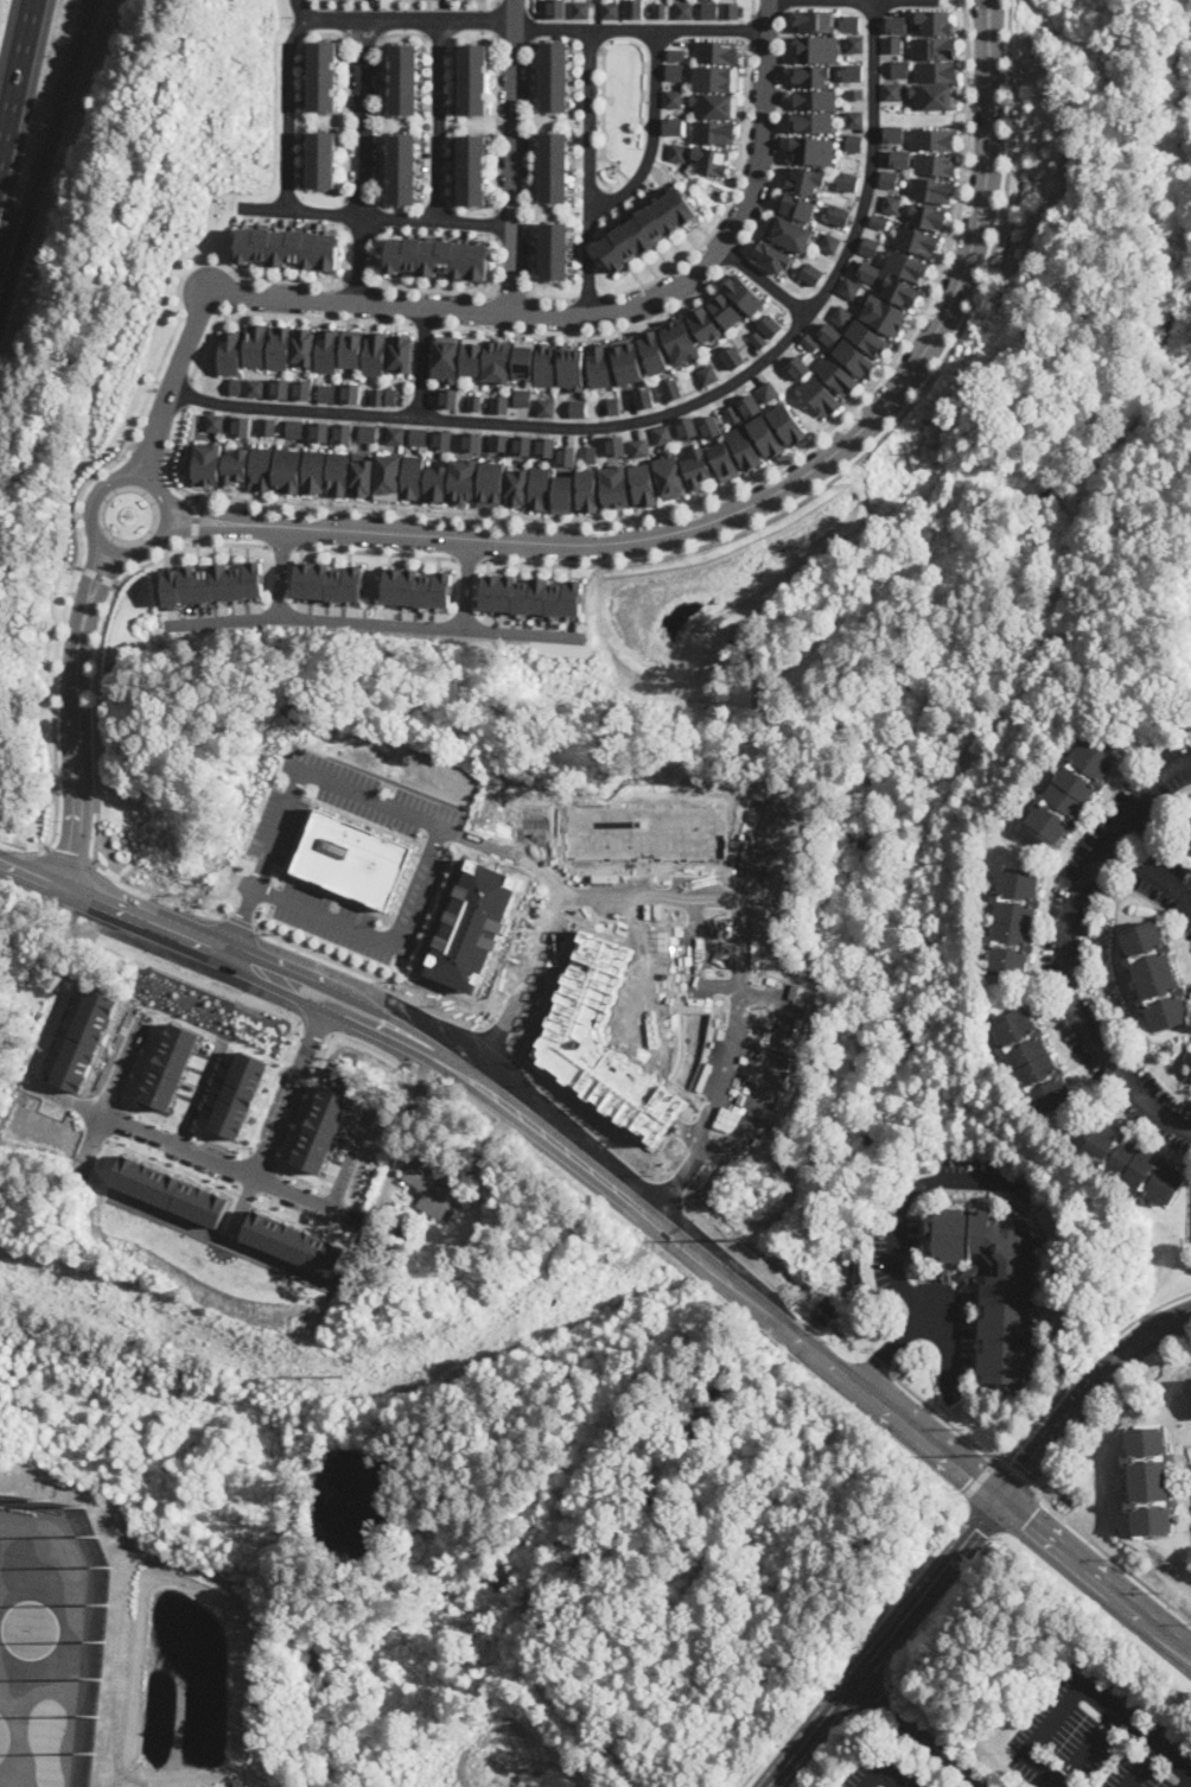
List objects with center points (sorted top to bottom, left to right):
road: (848, 0)
road: (391, 4)
road: (784, 6)
road: (529, 7)
building: (555, 8)
road: (751, 8)
road: (298, 9)
building: (579, 9)
building: (609, 9)
building: (631, 9)
building: (657, 9)
building: (682, 9)
building: (708, 9)
building: (728, 11)
road: (284, 12)
road: (406, 20)
building: (815, 20)
building: (936, 21)
building: (849, 24)
building: (897, 24)
road: (295, 27)
road: (637, 30)
road: (750, 30)
building: (855, 44)
building: (892, 45)
building: (934, 47)
building: (817, 49)
building: (715, 52)
building: (674, 55)
building: (900, 69)
building: (673, 71)
building: (853, 71)
building: (937, 71)
building: (323, 75)
building: (811, 75)
building: (553, 76)
building: (714, 77)
road: (17, 78)
building: (473, 78)
building: (403, 80)
building: (892, 91)
building: (855, 93)
road: (345, 94)
building: (934, 95)
road: (378, 98)
building: (671, 98)
building: (814, 98)
building: (713, 104)
park: (618, 109)
road: (287, 113)
road: (603, 117)
building: (854, 119)
road: (438, 120)
road: (496, 121)
building: (813, 121)
building: (671, 126)
building: (712, 132)
road: (651, 133)
road: (778, 133)
building: (893, 133)
building: (932, 138)
building: (853, 142)
building: (810, 150)
building: (676, 152)
road: (46, 153)
road: (512, 155)
building: (900, 158)
building: (323, 159)
building: (709, 160)
road: (363, 161)
building: (934, 164)
building: (553, 167)
building: (402, 168)
building: (472, 170)
road: (587, 170)
building: (887, 178)
building: (804, 179)
building: (847, 180)
road: (690, 184)
road: (528, 189)
building: (930, 190)
road: (728, 203)
building: (891, 204)
building: (795, 205)
road: (346, 211)
building: (839, 215)
road: (377, 216)
building: (928, 216)
road: (378, 217)
building: (878, 221)
road: (495, 223)
building: (645, 228)
building: (788, 233)
building: (916, 240)
building: (829, 243)
building: (870, 247)
building: (289, 248)
building: (554, 250)
road: (735, 256)
building: (772, 256)
building: (438, 257)
building: (907, 266)
building: (868, 272)
building: (810, 273)
road: (361, 282)
road: (765, 282)
building: (849, 287)
road: (438, 290)
building: (900, 291)
road: (510, 293)
building: (743, 294)
road: (588, 297)
building: (724, 309)
road: (507, 312)
road: (279, 313)
building: (884, 314)
building: (842, 316)
road: (425, 324)
building: (705, 324)
building: (770, 325)
road: (592, 332)
building: (829, 333)
building: (867, 337)
building: (758, 339)
building: (679, 341)
building: (810, 342)
building: (256, 344)
building: (280, 346)
building: (305, 346)
building: (352, 348)
building: (329, 350)
building: (231, 352)
building: (375, 352)
building: (402, 352)
building: (652, 352)
building: (471, 356)
building: (733, 357)
building: (446, 358)
building: (524, 358)
building: (854, 358)
building: (497, 360)
road: (422, 361)
building: (626, 361)
building: (544, 363)
building: (599, 364)
building: (572, 367)
building: (800, 367)
building: (707, 374)
building: (836, 375)
building: (236, 386)
building: (256, 387)
building: (281, 387)
building: (305, 389)
building: (671, 389)
road: (185, 392)
building: (352, 392)
building: (768, 392)
building: (329, 393)
building: (820, 394)
building: (378, 395)
building: (391, 395)
building: (448, 398)
building: (522, 398)
building: (644, 398)
building: (475, 402)
building: (499, 403)
building: (613, 406)
building: (750, 406)
building: (546, 407)
building: (578, 408)
road: (670, 412)
building: (732, 413)
building: (216, 422)
building: (788, 424)
road: (894, 424)
building: (243, 426)
building: (268, 426)
building: (687, 426)
building: (711, 426)
building: (295, 428)
building: (321, 431)
building: (345, 433)
building: (369, 433)
building: (396, 434)
building: (663, 434)
building: (419, 435)
building: (765, 435)
building: (442, 438)
building: (472, 441)
building: (501, 441)
building: (523, 445)
building: (546, 445)
building: (616, 445)
road: (149, 447)
building: (639, 447)
building: (744, 447)
building: (592, 453)
building: (567, 456)
road: (117, 458)
building: (724, 460)
building: (208, 463)
building: (236, 466)
building: (262, 468)
building: (698, 468)
building: (288, 469)
building: (314, 471)
building: (339, 472)
building: (362, 475)
building: (670, 475)
road: (107, 476)
building: (413, 476)
building: (388, 477)
building: (463, 479)
road: (795, 481)
building: (437, 483)
building: (491, 483)
building: (643, 484)
building: (516, 487)
building: (616, 487)
building: (540, 488)
building: (587, 490)
building: (563, 494)
road: (701, 501)
road: (211, 514)
road: (195, 519)
road: (211, 528)
road: (282, 546)
road: (376, 553)
road: (469, 559)
road: (281, 571)
road: (97, 575)
road: (88, 578)
building: (330, 581)
road: (102, 583)
building: (214, 583)
road: (467, 583)
building: (418, 587)
building: (531, 596)
road: (374, 622)
road: (100, 646)
road: (78, 750)
building: (1070, 791)
parking lot: (280, 822)
road: (442, 822)
building: (1189, 834)
road: (70, 857)
parking lot: (431, 857)
building: (354, 859)
road: (1148, 870)
road: (32, 873)
road: (218, 914)
road: (268, 920)
road: (241, 921)
road: (241, 923)
building: (1013, 923)
road: (547, 924)
road: (197, 942)
road: (1065, 946)
road: (320, 956)
building: (31, 962)
building: (1154, 977)
road: (265, 1007)
road: (317, 1028)
road: (365, 1048)
building: (1032, 1062)
building: (171, 1066)
road: (114, 1082)
road: (268, 1083)
road: (291, 1087)
building: (238, 1094)
road: (198, 1095)
road: (306, 1102)
building: (321, 1128)
road: (221, 1139)
road: (261, 1156)
road: (221, 1162)
building: (1132, 1164)
road: (301, 1172)
road: (274, 1183)
building: (171, 1190)
building: (429, 1190)
road: (267, 1200)
road: (241, 1208)
road: (299, 1219)
building: (405, 1228)
road: (674, 1236)
road: (219, 1238)
power tower: (735, 1240)
building: (293, 1242)
road: (896, 1252)
building: (995, 1285)
road: (951, 1340)
power tower: (331, 1369)
road: (1084, 1393)
road: (1039, 1419)
power tower: (992, 1454)
road: (1020, 1474)
road: (979, 1477)
building: (1148, 1481)
traffic signals: (1004, 1500)
road: (1020, 1513)
road: (983, 1521)
road: (1108, 1554)
road: (950, 1564)
road: (1096, 1576)
park: (49, 1640)
road: (856, 1642)
road: (1084, 1687)
road: (832, 1706)
road: (913, 1735)
parking lot: (1096, 1740)
road: (1088, 1748)
road: (1144, 1768)
road: (879, 1774)
parking lot: (880, 1774)
road: (1190, 1786)

